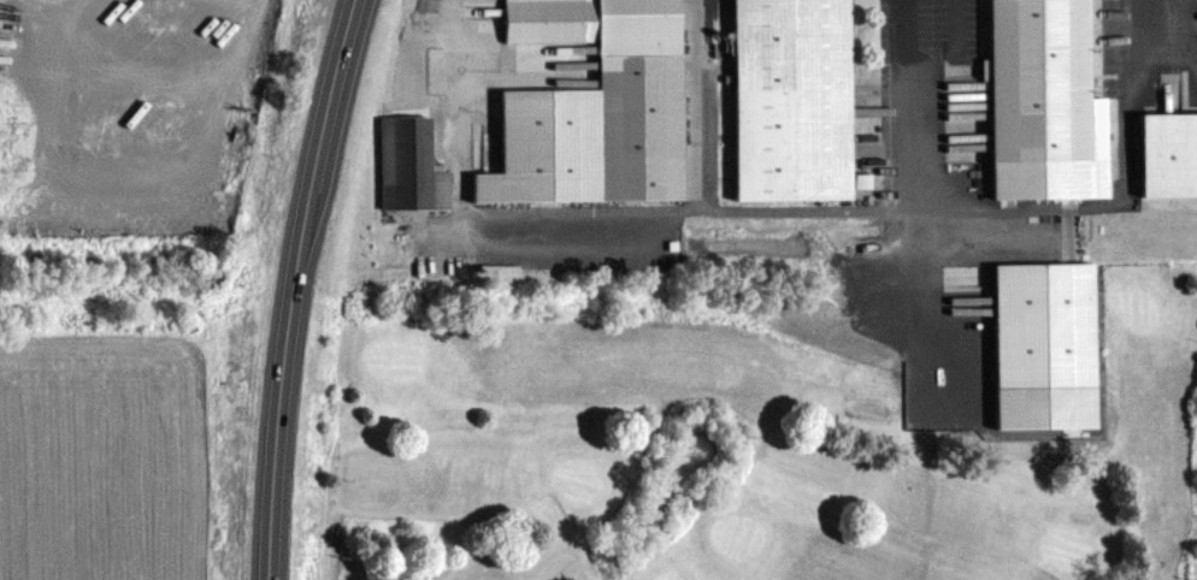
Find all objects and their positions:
building: (788, 99)
building: (1040, 102)
building: (591, 107)
building: (1167, 154)
building: (407, 165)
road: (574, 218)
road: (290, 286)
building: (1039, 344)
park: (737, 457)
crop: (100, 458)

